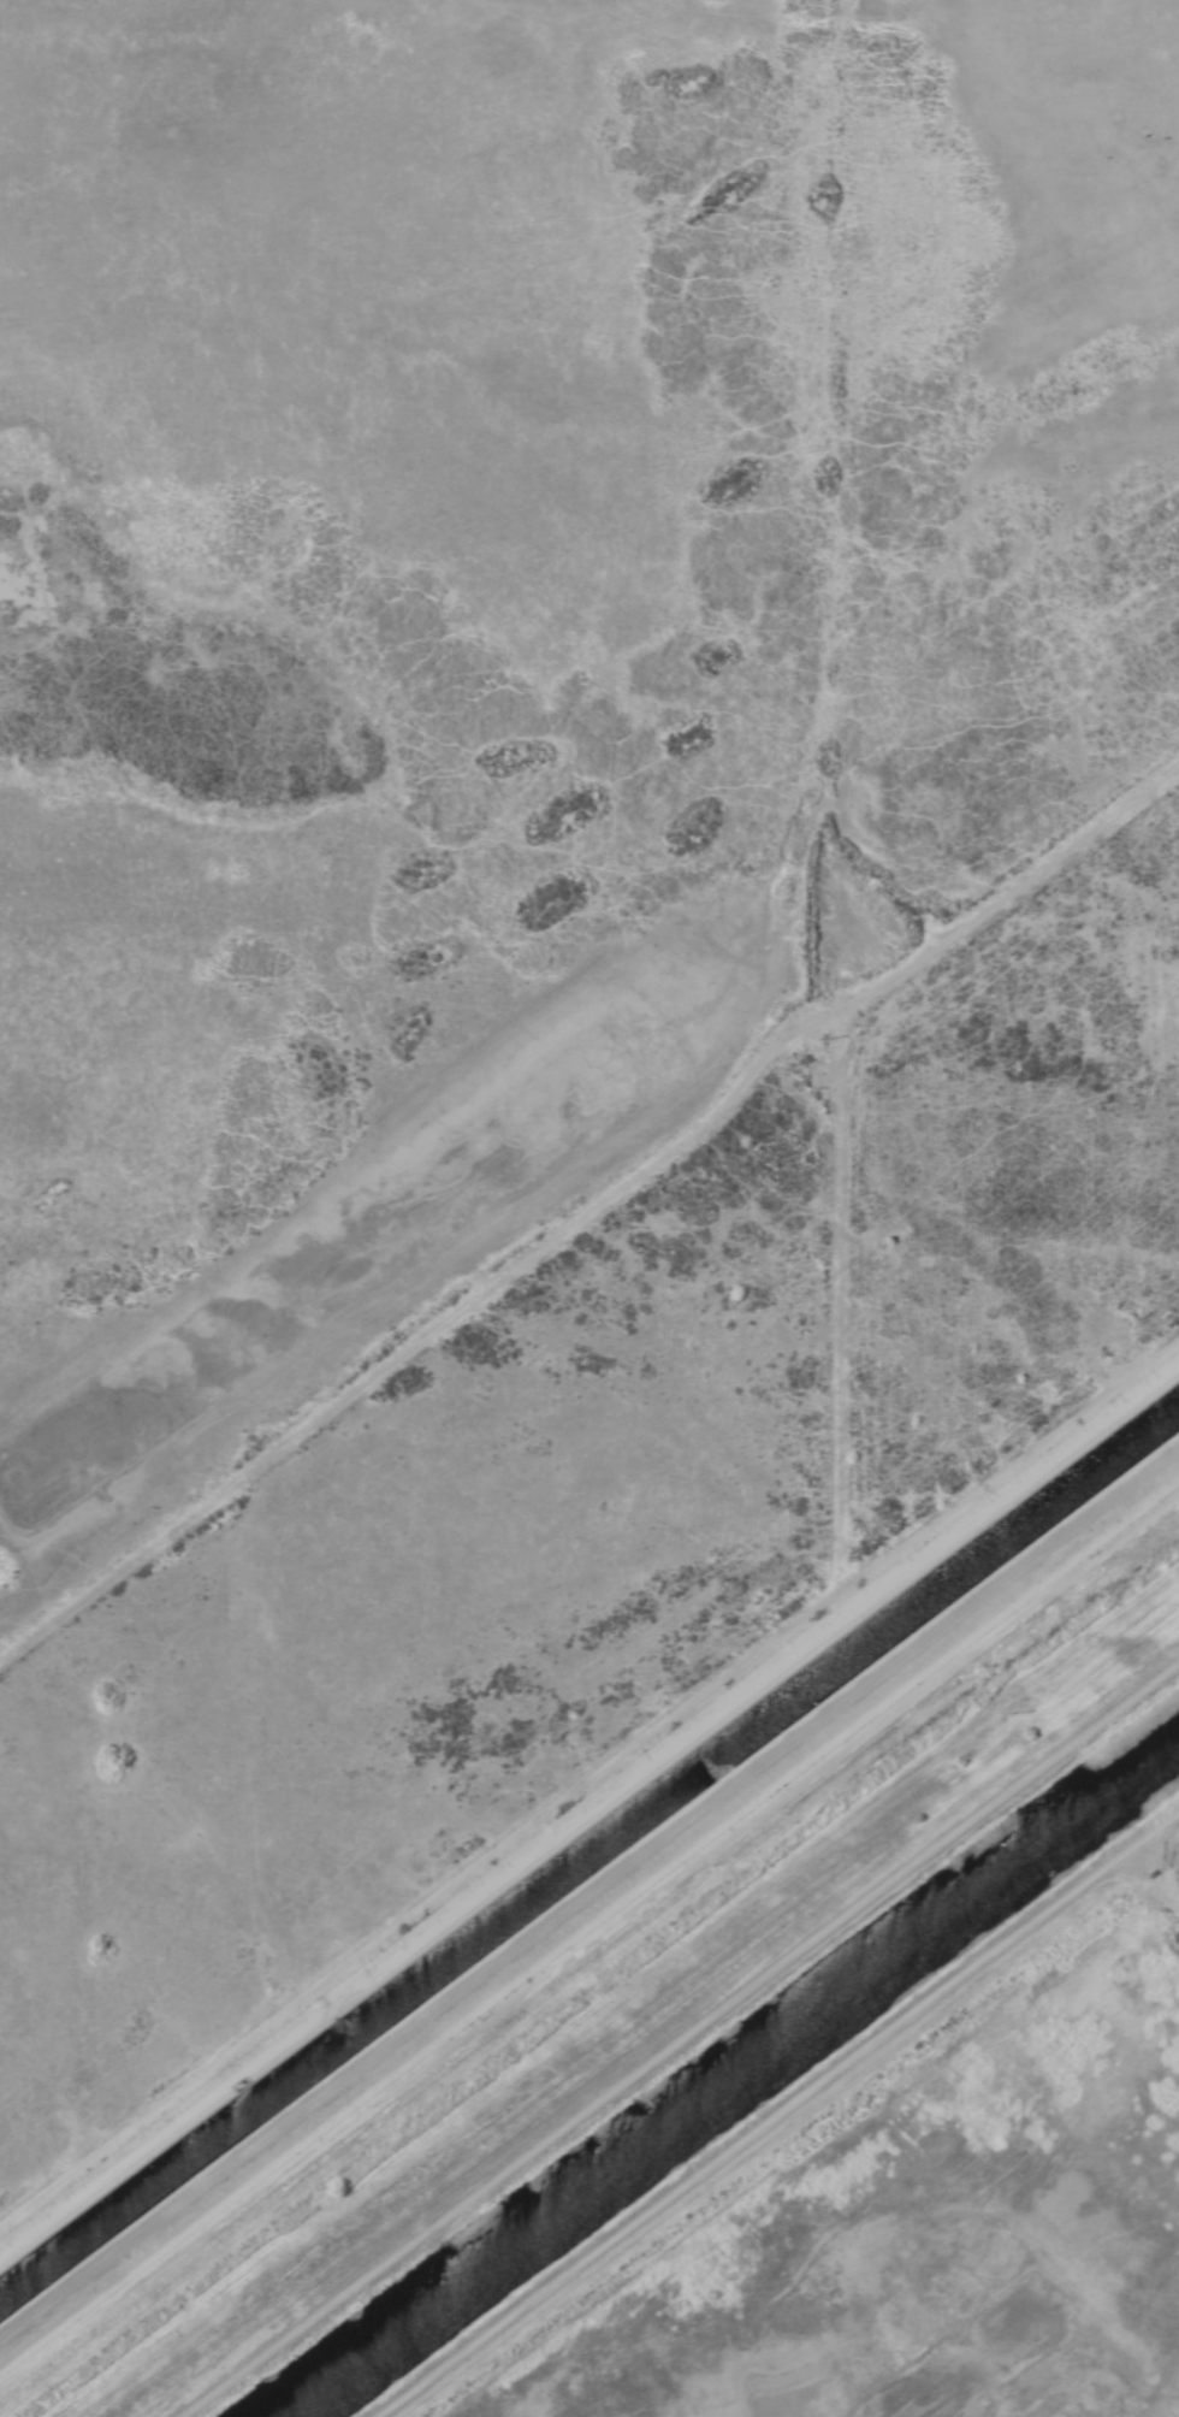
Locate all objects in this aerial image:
crop: (540, 918)
road: (777, 2097)

